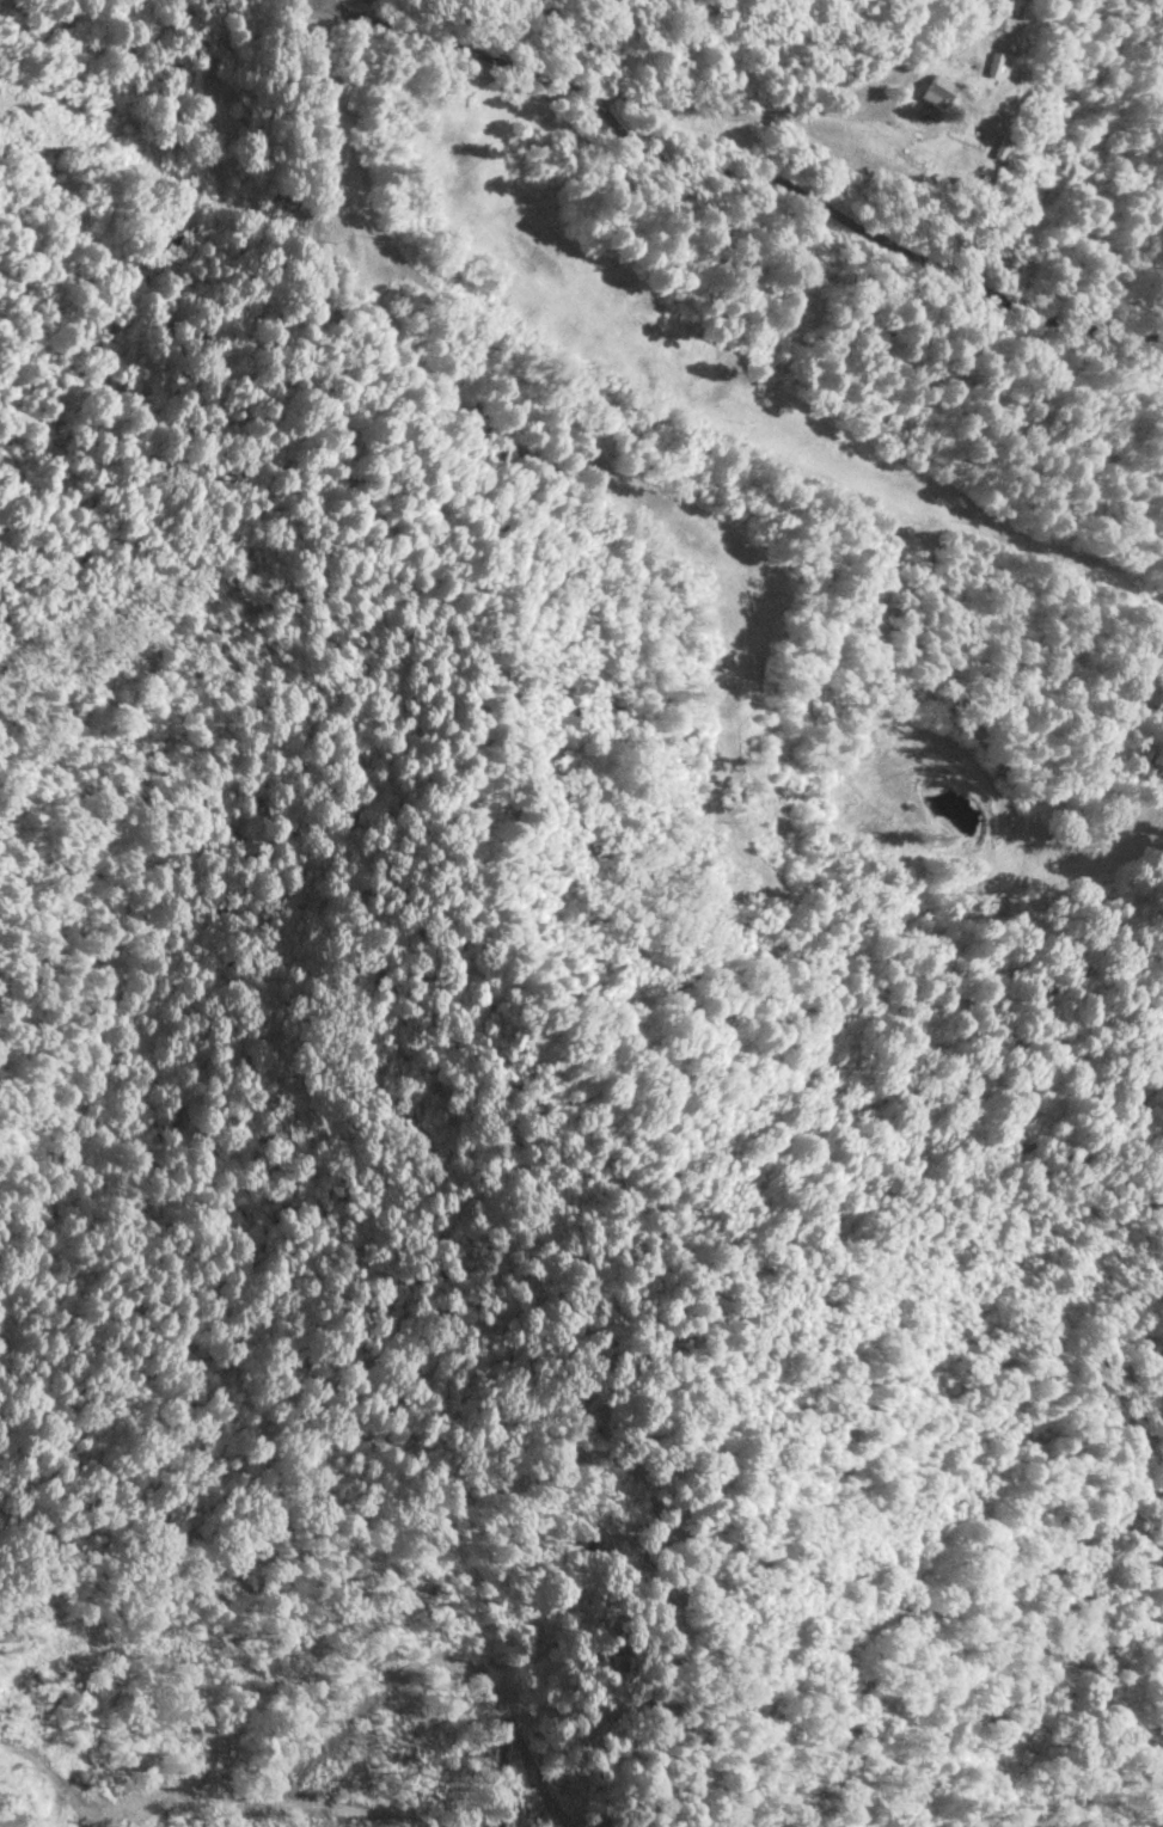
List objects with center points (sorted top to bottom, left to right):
road: (311, 4)
road: (324, 4)
building: (936, 92)
road: (810, 142)
road: (739, 172)
road: (200, 191)

